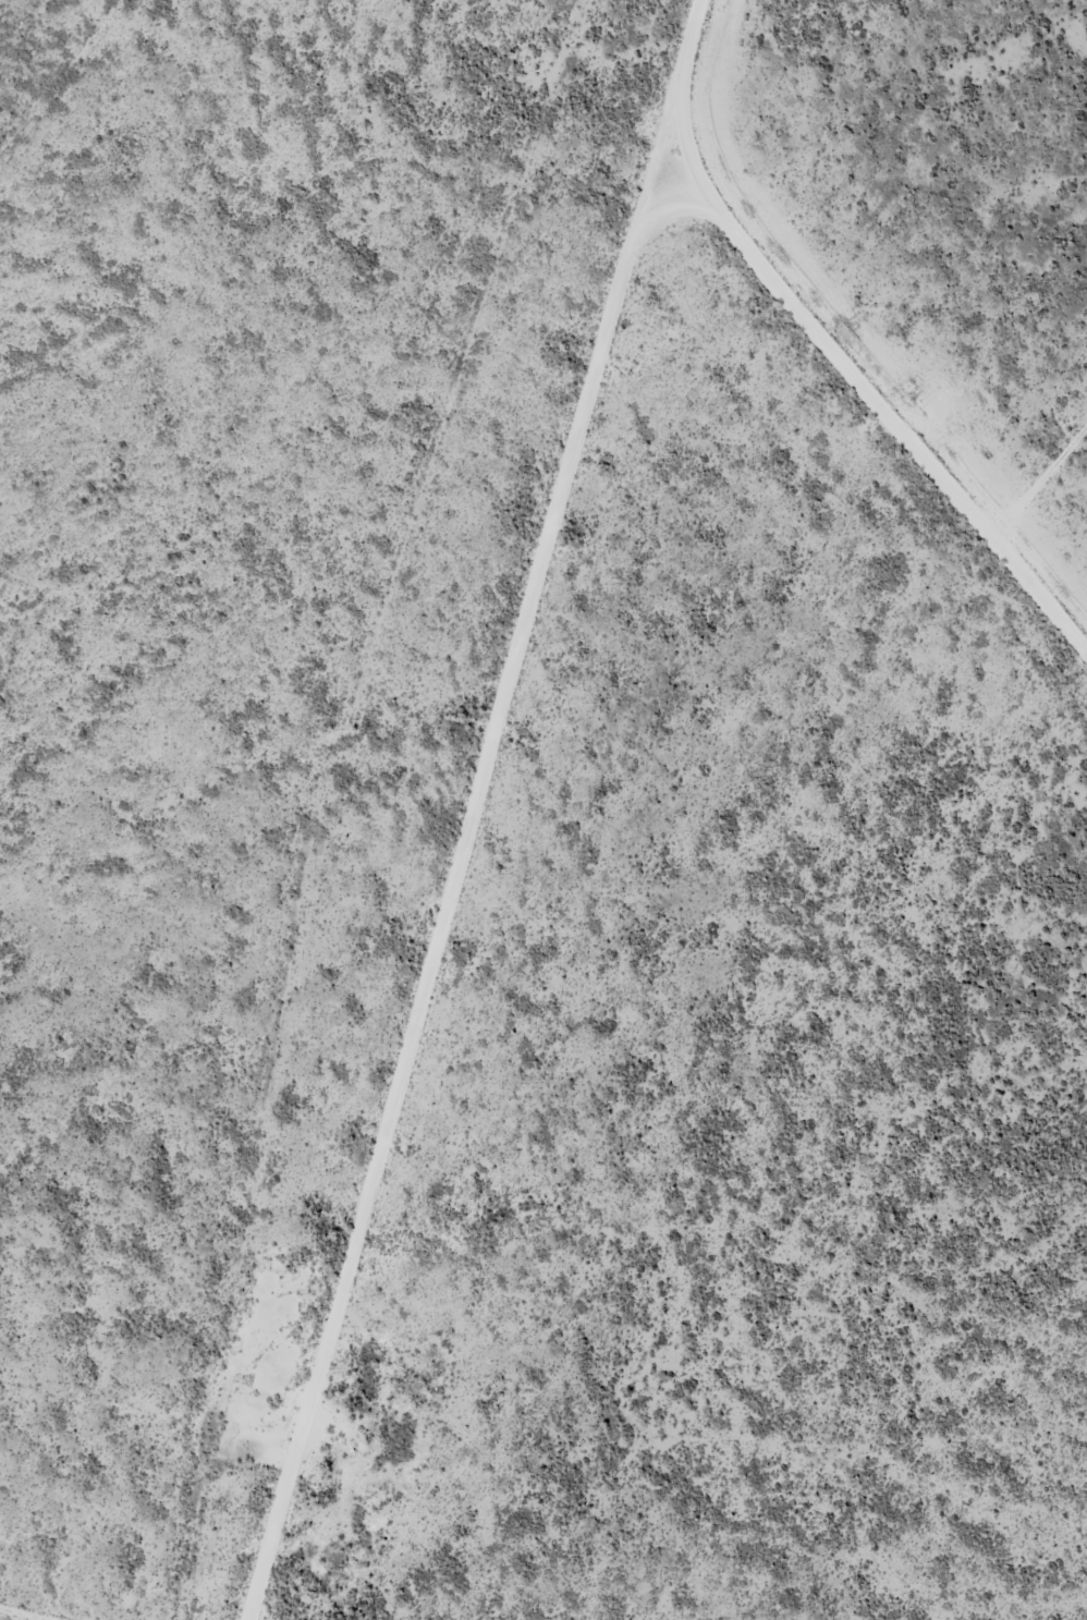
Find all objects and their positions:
road: (891, 377)
road: (494, 807)

